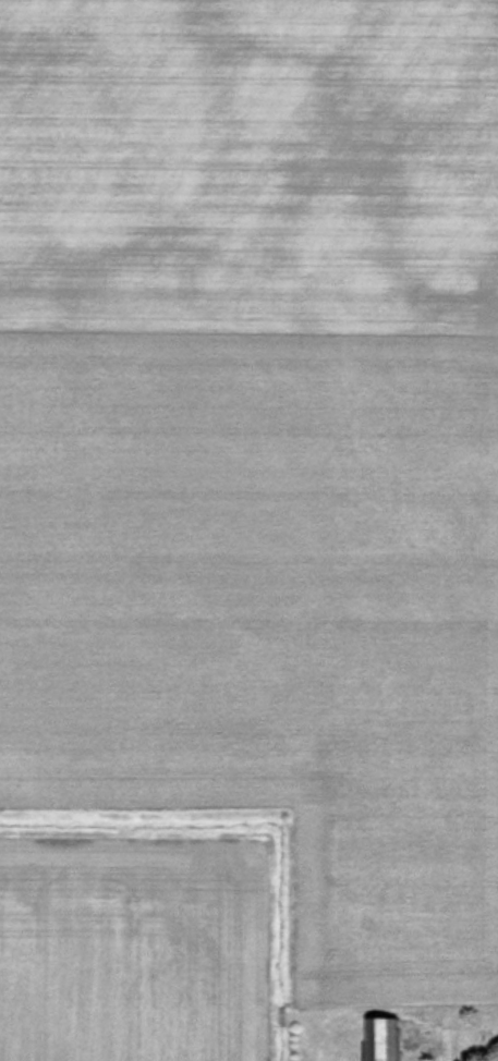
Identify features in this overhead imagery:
building: (389, 1039)
building: (452, 1044)

